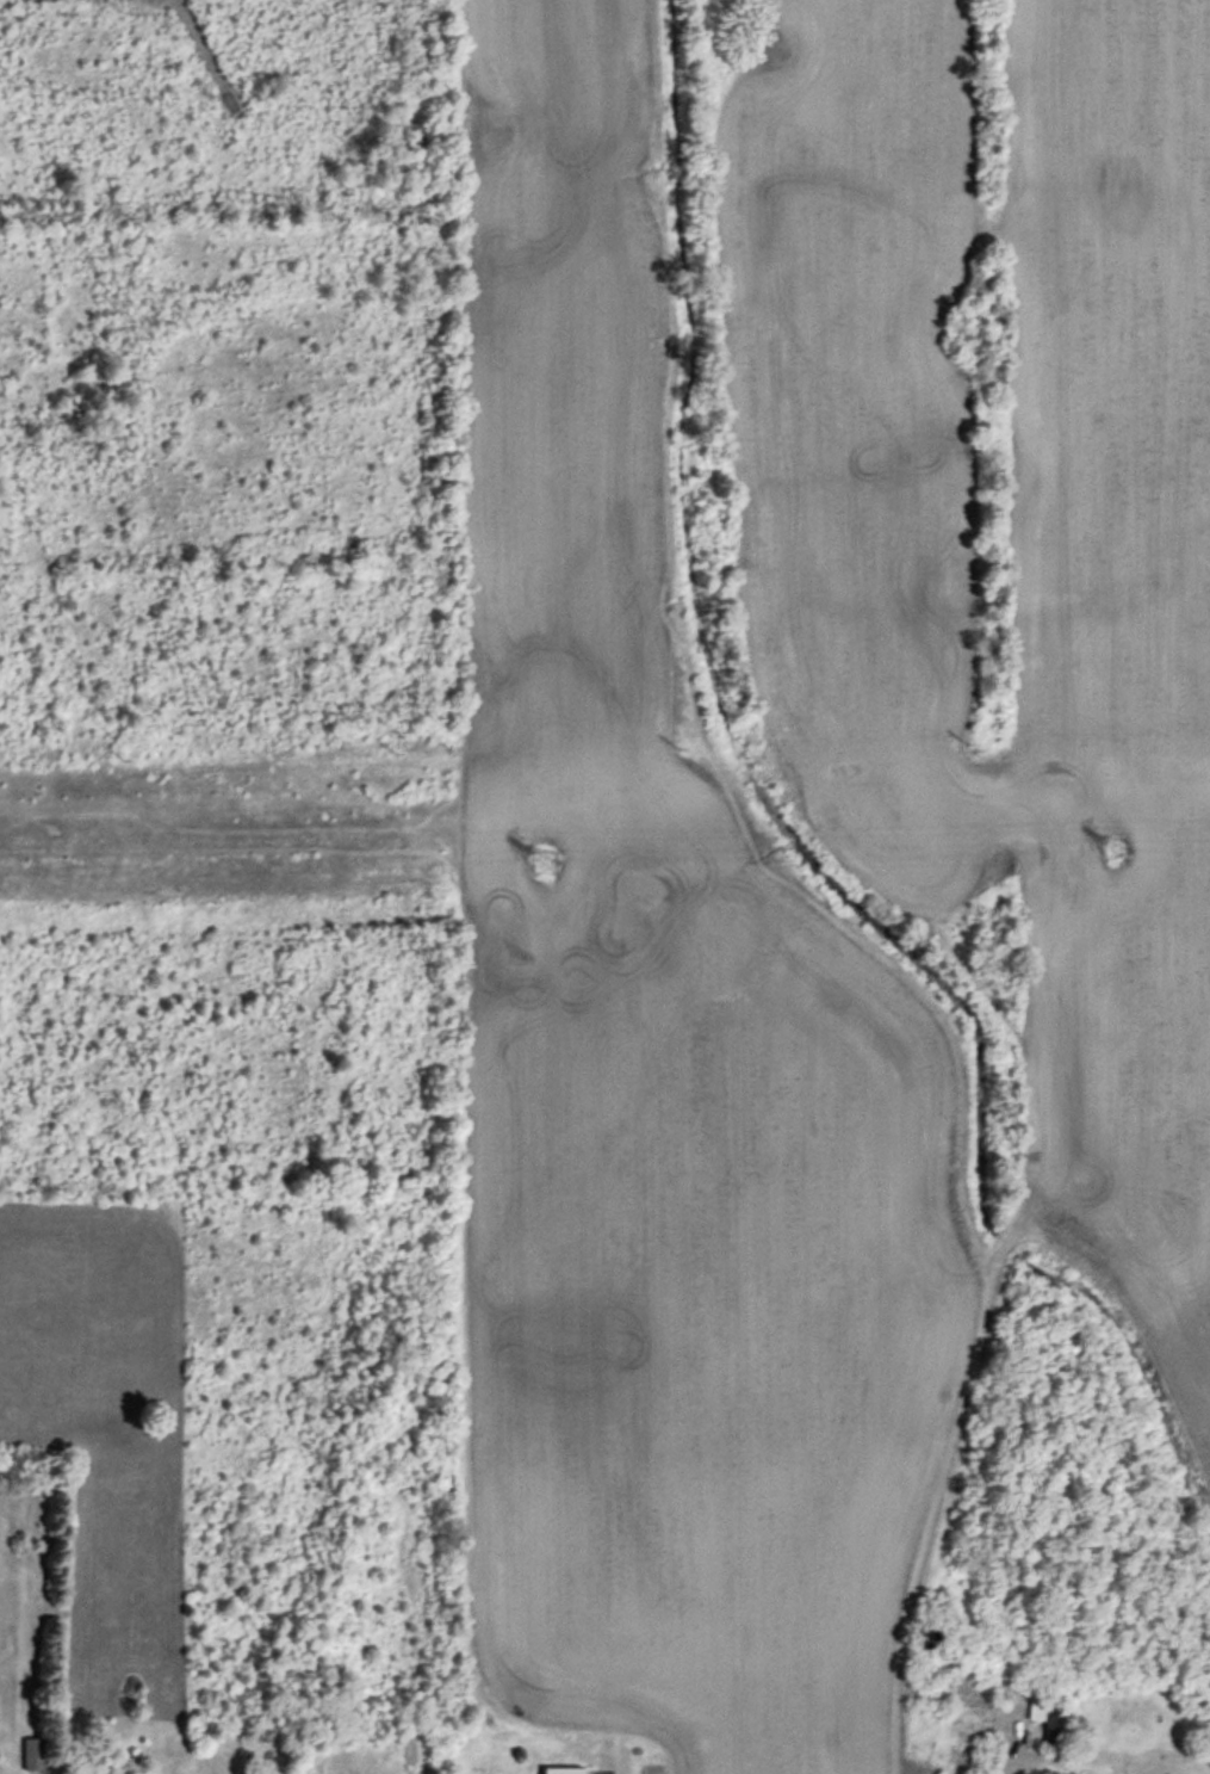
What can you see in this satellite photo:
power tower: (1116, 851)
power tower: (544, 863)
building: (1051, 1725)
building: (33, 1755)
road: (1003, 1769)
building: (561, 1772)
building: (273, 1773)

